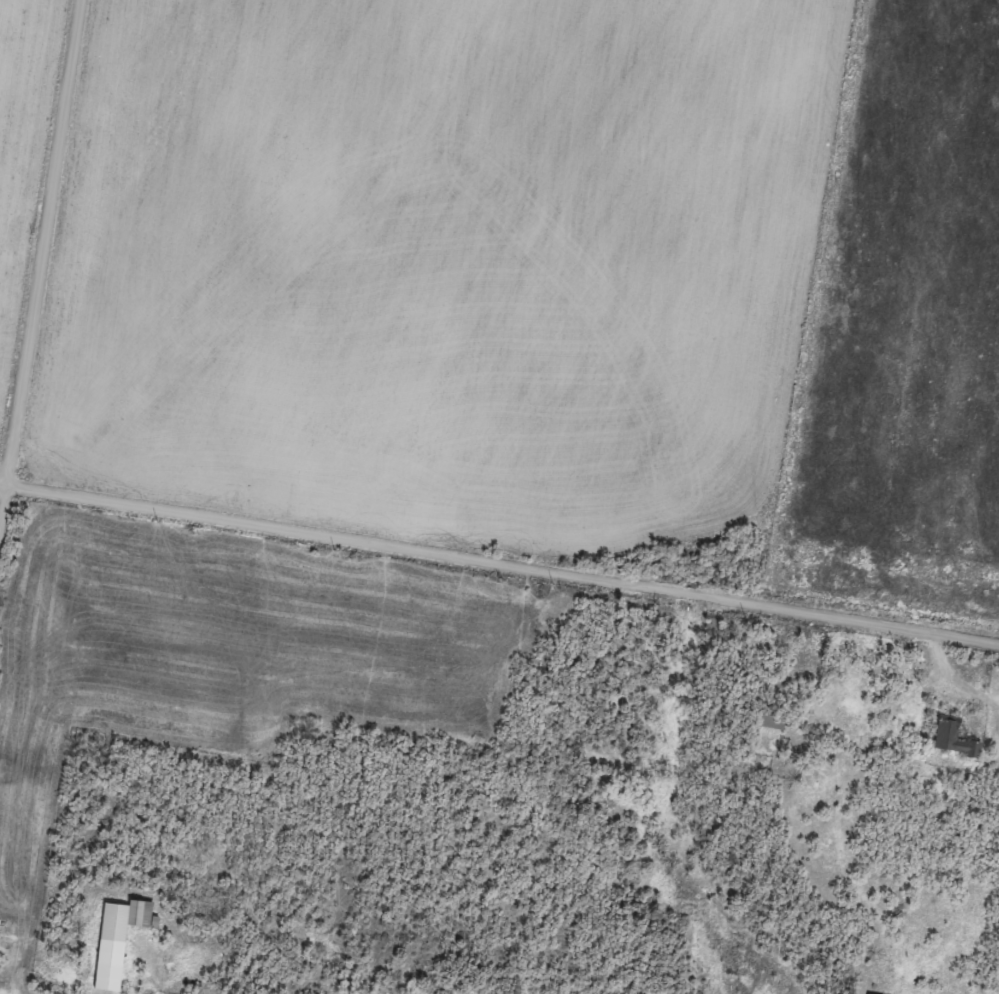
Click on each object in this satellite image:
crop: (23, 155)
road: (45, 244)
crop: (438, 262)
road: (4, 509)
road: (499, 566)
building: (772, 719)
building: (954, 736)
building: (115, 922)
building: (869, 993)

